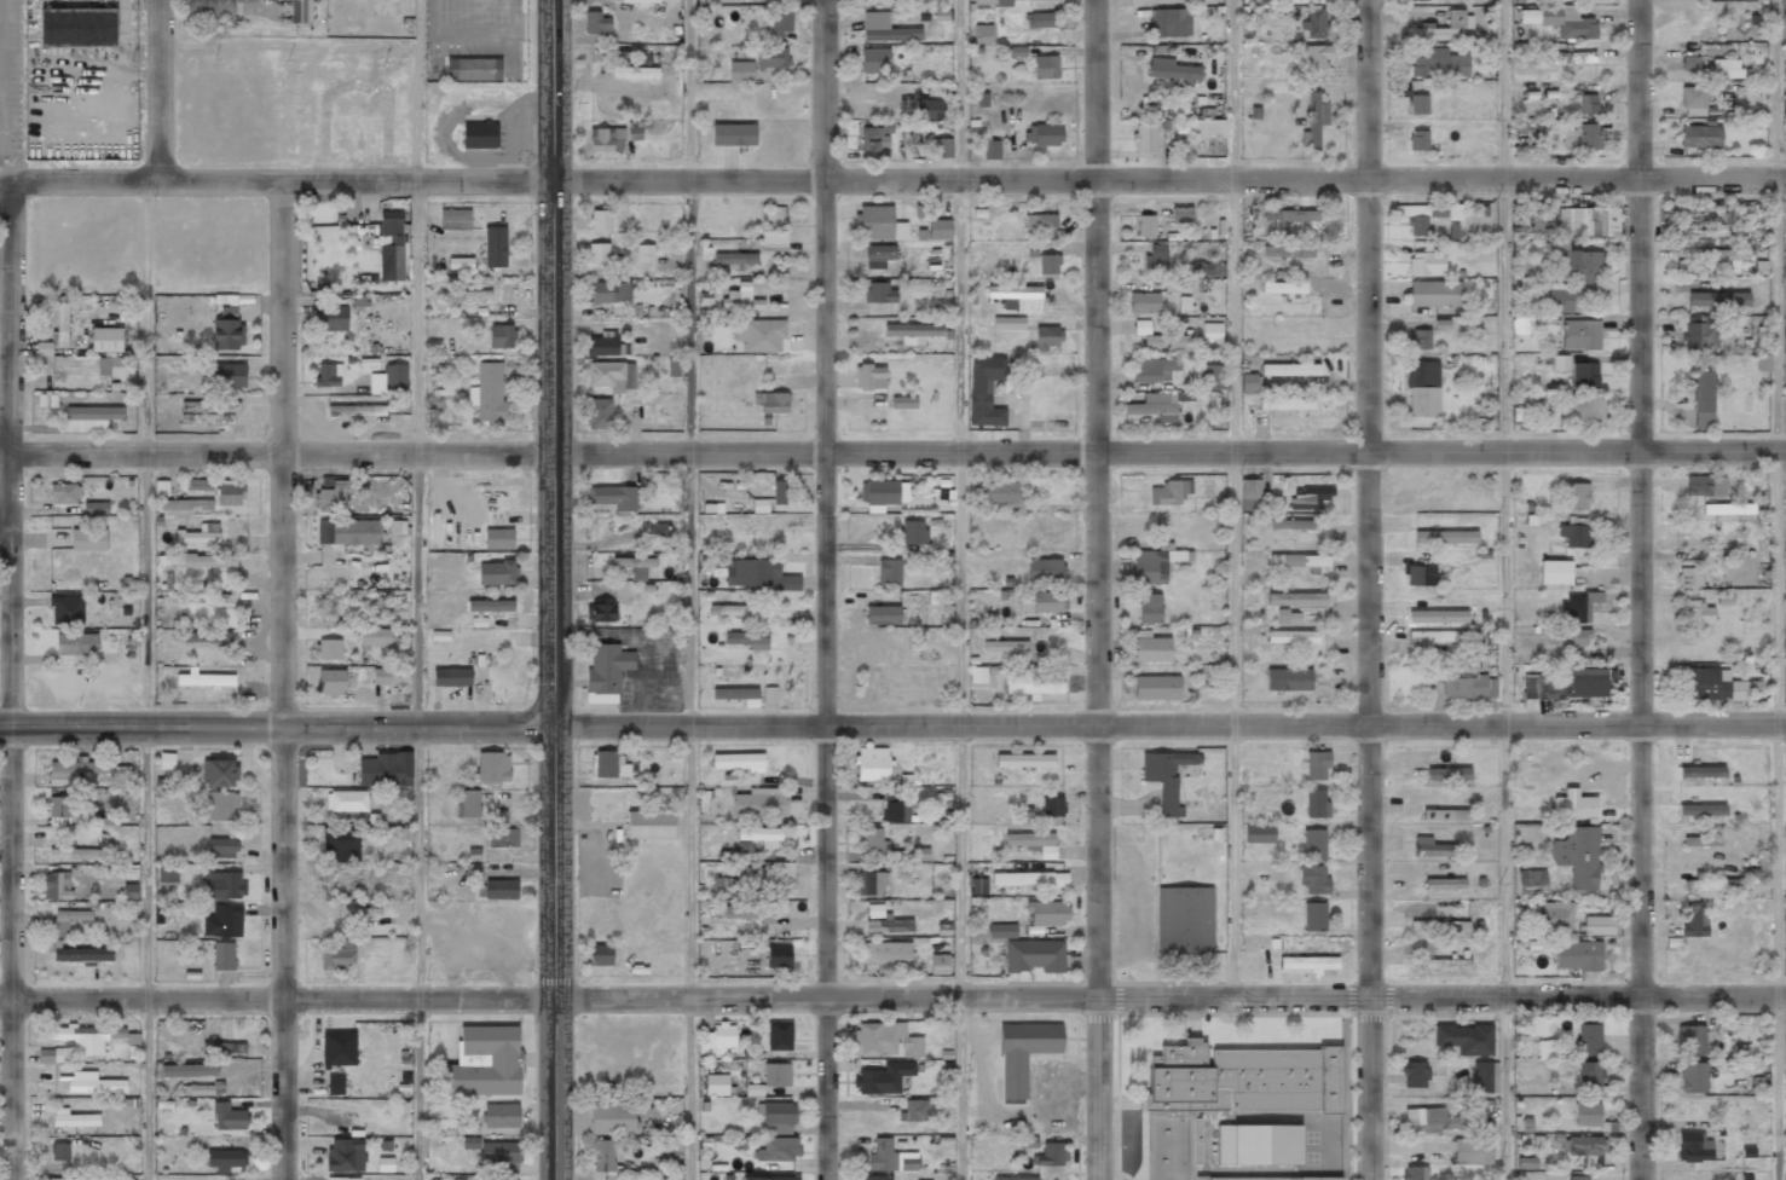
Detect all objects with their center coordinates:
building: (883, 0)
building: (1420, 0)
building: (1733, 0)
building: (638, 1)
building: (1304, 1)
building: (993, 2)
building: (210, 11)
building: (301, 11)
building: (1038, 19)
building: (781, 21)
building: (1560, 21)
building: (1169, 22)
building: (596, 23)
building: (1316, 23)
building: (77, 28)
building: (885, 29)
building: (983, 34)
building: (770, 57)
building: (1312, 57)
building: (873, 60)
building: (1689, 63)
building: (1439, 64)
building: (1045, 66)
building: (473, 69)
building: (1171, 69)
building: (1721, 69)
building: (740, 71)
building: (635, 73)
road: (158, 88)
building: (1400, 89)
building: (1693, 97)
building: (1418, 104)
building: (1586, 104)
building: (927, 108)
building: (1313, 121)
building: (1206, 128)
building: (733, 134)
building: (1042, 134)
building: (479, 135)
building: (1589, 137)
building: (1699, 137)
building: (1145, 138)
building: (606, 139)
building: (874, 139)
building: (1417, 140)
building: (941, 147)
building: (992, 150)
road: (896, 179)
building: (1453, 212)
building: (1181, 214)
building: (1289, 215)
building: (1418, 216)
building: (1730, 216)
building: (1542, 218)
building: (455, 219)
building: (600, 220)
building: (1588, 221)
building: (873, 222)
building: (1039, 225)
building: (1145, 226)
building: (938, 230)
building: (773, 239)
building: (391, 245)
building: (495, 247)
building: (1287, 251)
building: (597, 253)
building: (643, 253)
building: (878, 255)
building: (1726, 255)
building: (1156, 256)
building: (735, 259)
building: (459, 264)
building: (1426, 264)
building: (1048, 265)
building: (1206, 268)
building: (1785, 279)
building: (1181, 285)
building: (1283, 288)
building: (608, 293)
building: (879, 293)
building: (1013, 293)
building: (1434, 294)
building: (464, 296)
building: (740, 299)
building: (1560, 299)
building: (1718, 299)
building: (1144, 302)
building: (1184, 305)
building: (329, 318)
building: (1007, 323)
building: (60, 324)
building: (1521, 325)
building: (1141, 328)
building: (227, 330)
building: (1212, 332)
building: (913, 334)
building: (759, 335)
building: (1580, 335)
building: (1699, 335)
building: (501, 336)
building: (1047, 337)
building: (1420, 339)
building: (105, 340)
building: (1167, 340)
building: (602, 346)
building: (44, 348)
road: (554, 361)
building: (1560, 363)
building: (121, 366)
building: (1155, 370)
building: (1289, 370)
building: (1584, 374)
building: (229, 375)
building: (329, 375)
building: (612, 375)
building: (395, 377)
building: (869, 377)
building: (1212, 377)
building: (1248, 382)
building: (1422, 388)
building: (984, 391)
building: (487, 392)
building: (1701, 399)
building: (770, 403)
building: (903, 403)
building: (1285, 404)
building: (1160, 405)
building: (356, 411)
building: (1583, 411)
building: (208, 412)
building: (599, 413)
building: (89, 418)
road: (894, 453)
building: (200, 485)
building: (1705, 485)
building: (1249, 488)
building: (778, 492)
building: (883, 492)
building: (1169, 492)
building: (64, 493)
building: (230, 493)
building: (1002, 494)
building: (1576, 496)
building: (334, 497)
building: (613, 497)
building: (1310, 497)
road: (1235, 499)
building: (1249, 504)
building: (186, 505)
building: (96, 508)
building: (1728, 509)
building: (1290, 525)
road: (2, 530)
building: (348, 532)
building: (204, 533)
building: (913, 533)
building: (1576, 534)
building: (1445, 537)
building: (88, 539)
building: (498, 539)
building: (207, 561)
building: (1300, 561)
building: (1155, 563)
building: (635, 566)
building: (1045, 569)
building: (888, 572)
building: (1554, 572)
building: (496, 573)
building: (1420, 575)
building: (1688, 579)
road: (418, 589)
road: (693, 589)
road: (822, 589)
road: (1099, 589)
road: (1372, 589)
road: (1505, 589)
road: (1647, 589)
road: (1778, 589)
road: (960, 590)
building: (1295, 598)
building: (1042, 602)
building: (490, 606)
building: (1579, 606)
building: (323, 608)
building: (1149, 608)
building: (67, 611)
building: (741, 612)
building: (599, 613)
building: (882, 614)
building: (1699, 615)
building: (1437, 617)
building: (1288, 618)
building: (201, 635)
building: (1291, 636)
building: (1437, 636)
building: (375, 637)
building: (1567, 637)
building: (747, 640)
building: (76, 644)
building: (1005, 647)
building: (328, 649)
building: (606, 670)
building: (977, 675)
building: (380, 676)
building: (451, 677)
road: (146, 678)
road: (10, 679)
building: (204, 679)
road: (282, 679)
building: (1288, 679)
building: (331, 681)
building: (1034, 682)
building: (1568, 684)
building: (1709, 686)
building: (1155, 688)
building: (1469, 688)
building: (770, 694)
building: (738, 695)
road: (278, 725)
road: (1171, 728)
building: (1024, 760)
building: (738, 762)
building: (872, 764)
building: (611, 765)
building: (1316, 765)
building: (492, 768)
building: (76, 769)
building: (386, 770)
building: (1700, 771)
building: (218, 773)
building: (122, 774)
building: (1447, 774)
building: (1166, 777)
building: (467, 803)
building: (759, 803)
building: (1316, 803)
building: (347, 804)
building: (221, 806)
building: (1052, 806)
building: (1574, 806)
building: (1700, 810)
building: (59, 811)
building: (895, 811)
building: (1445, 815)
building: (649, 825)
building: (1259, 834)
building: (502, 837)
building: (761, 837)
building: (873, 841)
building: (1700, 841)
building: (342, 843)
building: (1033, 843)
building: (1313, 844)
building: (222, 848)
building: (1432, 848)
building: (73, 852)
building: (918, 854)
building: (1577, 856)
building: (168, 874)
building: (1313, 879)
building: (1030, 880)
building: (871, 883)
building: (1444, 884)
building: (1530, 884)
building: (57, 885)
building: (224, 885)
building: (1710, 885)
building: (499, 890)
building: (360, 912)
building: (751, 913)
building: (1048, 913)
building: (1314, 916)
building: (1553, 918)
building: (1184, 920)
building: (1694, 920)
building: (67, 921)
building: (224, 921)
building: (885, 921)
building: (1597, 925)
building: (1439, 926)
building: (1001, 931)
building: (886, 950)
road: (557, 953)
building: (83, 955)
building: (224, 955)
building: (337, 955)
building: (601, 955)
building: (1035, 955)
building: (1578, 955)
building: (778, 956)
building: (1308, 964)
building: (938, 965)
building: (1445, 965)
road: (892, 996)
building: (779, 1036)
building: (81, 1039)
building: (1466, 1039)
building: (717, 1040)
building: (886, 1040)
building: (1589, 1040)
building: (1690, 1040)
building: (225, 1048)
building: (339, 1048)
building: (1547, 1049)
building: (1022, 1054)
building: (53, 1055)
building: (484, 1063)
building: (189, 1070)
building: (774, 1074)
building: (1414, 1074)
building: (1589, 1074)
building: (1484, 1077)
building: (1692, 1077)
building: (883, 1078)
building: (93, 1083)
building: (335, 1084)
building: (716, 1084)
building: (1226, 1097)
building: (914, 1110)
building: (1585, 1114)
building: (501, 1116)
building: (229, 1117)
building: (776, 1117)
building: (73, 1118)
building: (612, 1118)
building: (1428, 1120)
building: (470, 1143)
building: (1256, 1145)
building: (1580, 1145)
building: (1694, 1147)
building: (778, 1150)
building: (59, 1151)
building: (1470, 1151)
building: (499, 1152)
building: (345, 1155)
building: (1048, 1155)
building: (890, 1157)
building: (225, 1159)
building: (606, 1159)
building: (1525, 1163)
building: (1415, 1173)
building: (342, 1178)
building: (768, 1178)
building: (875, 1178)
building: (1013, 1178)
building: (1577, 1178)
building: (80, 1179)
building: (501, 1179)

